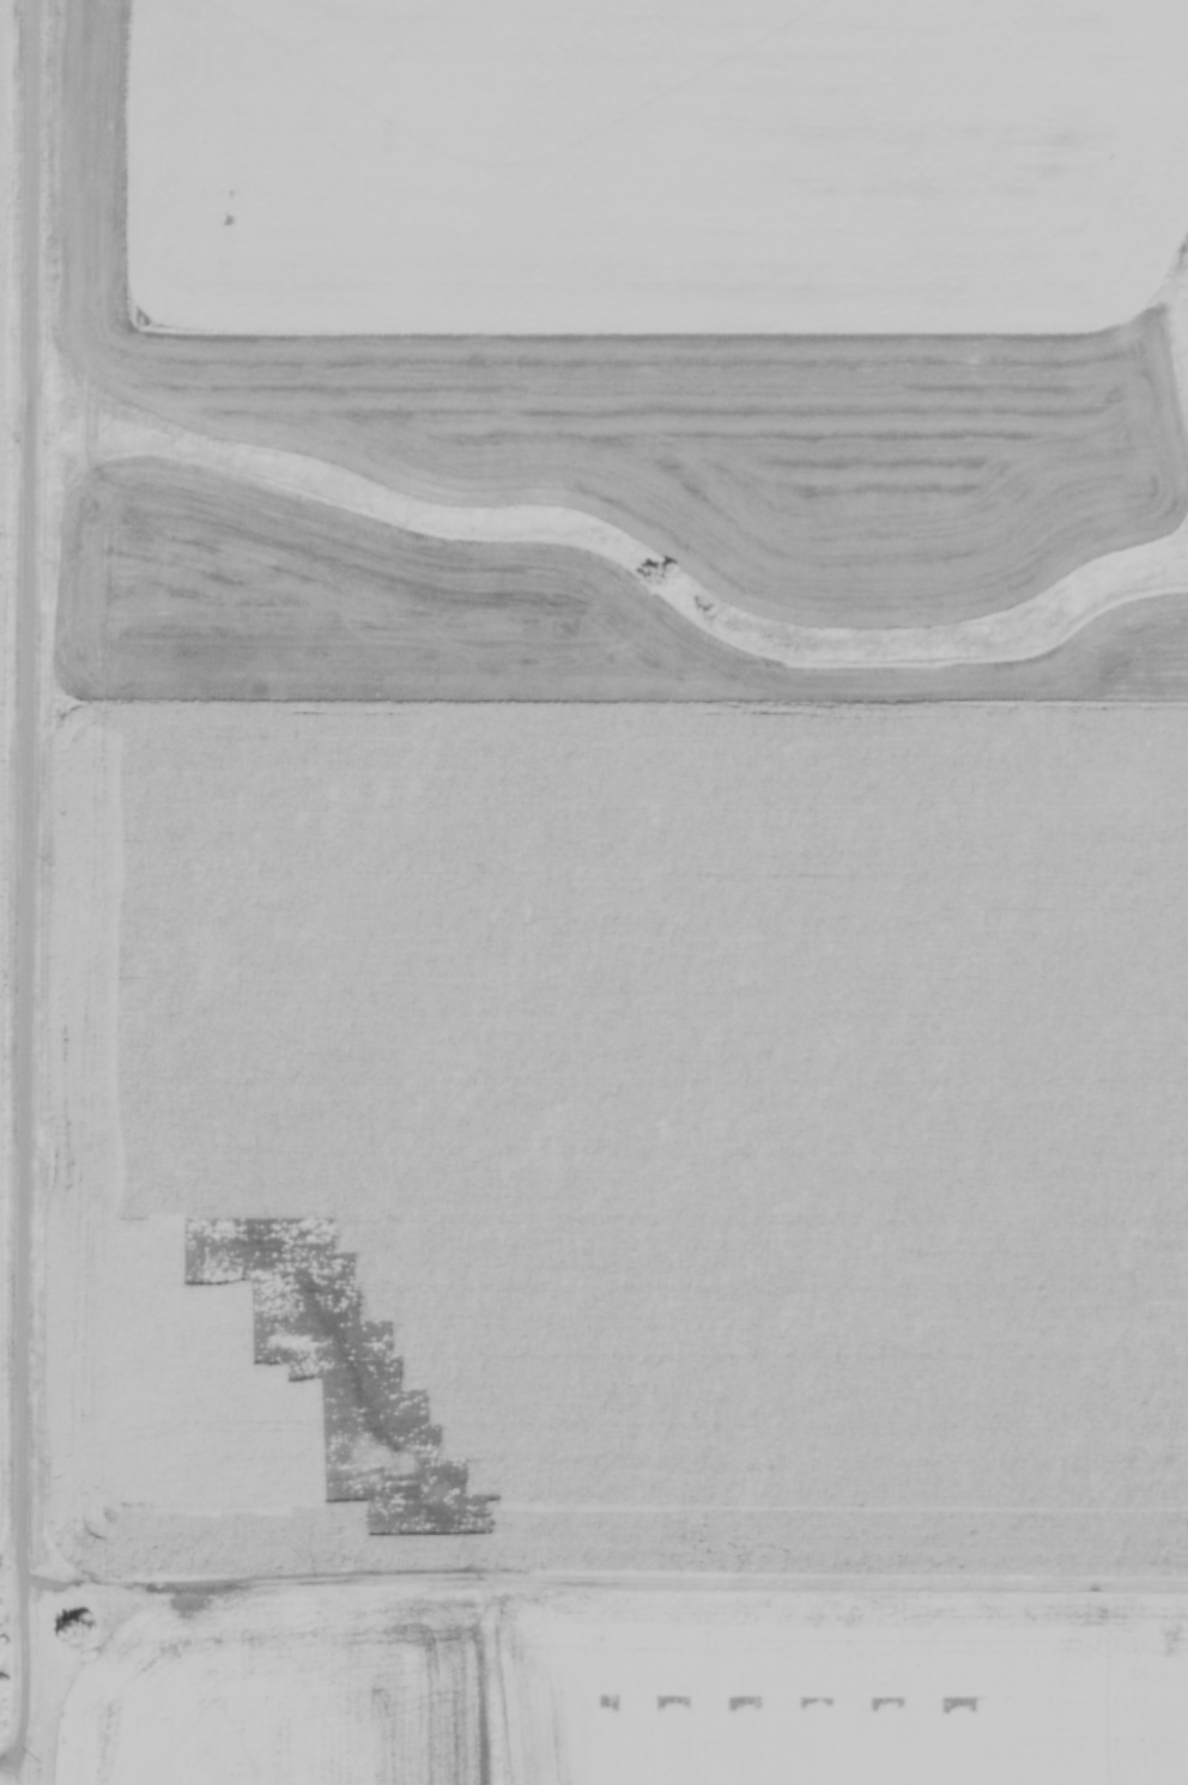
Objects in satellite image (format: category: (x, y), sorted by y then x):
road: (29, 888)

